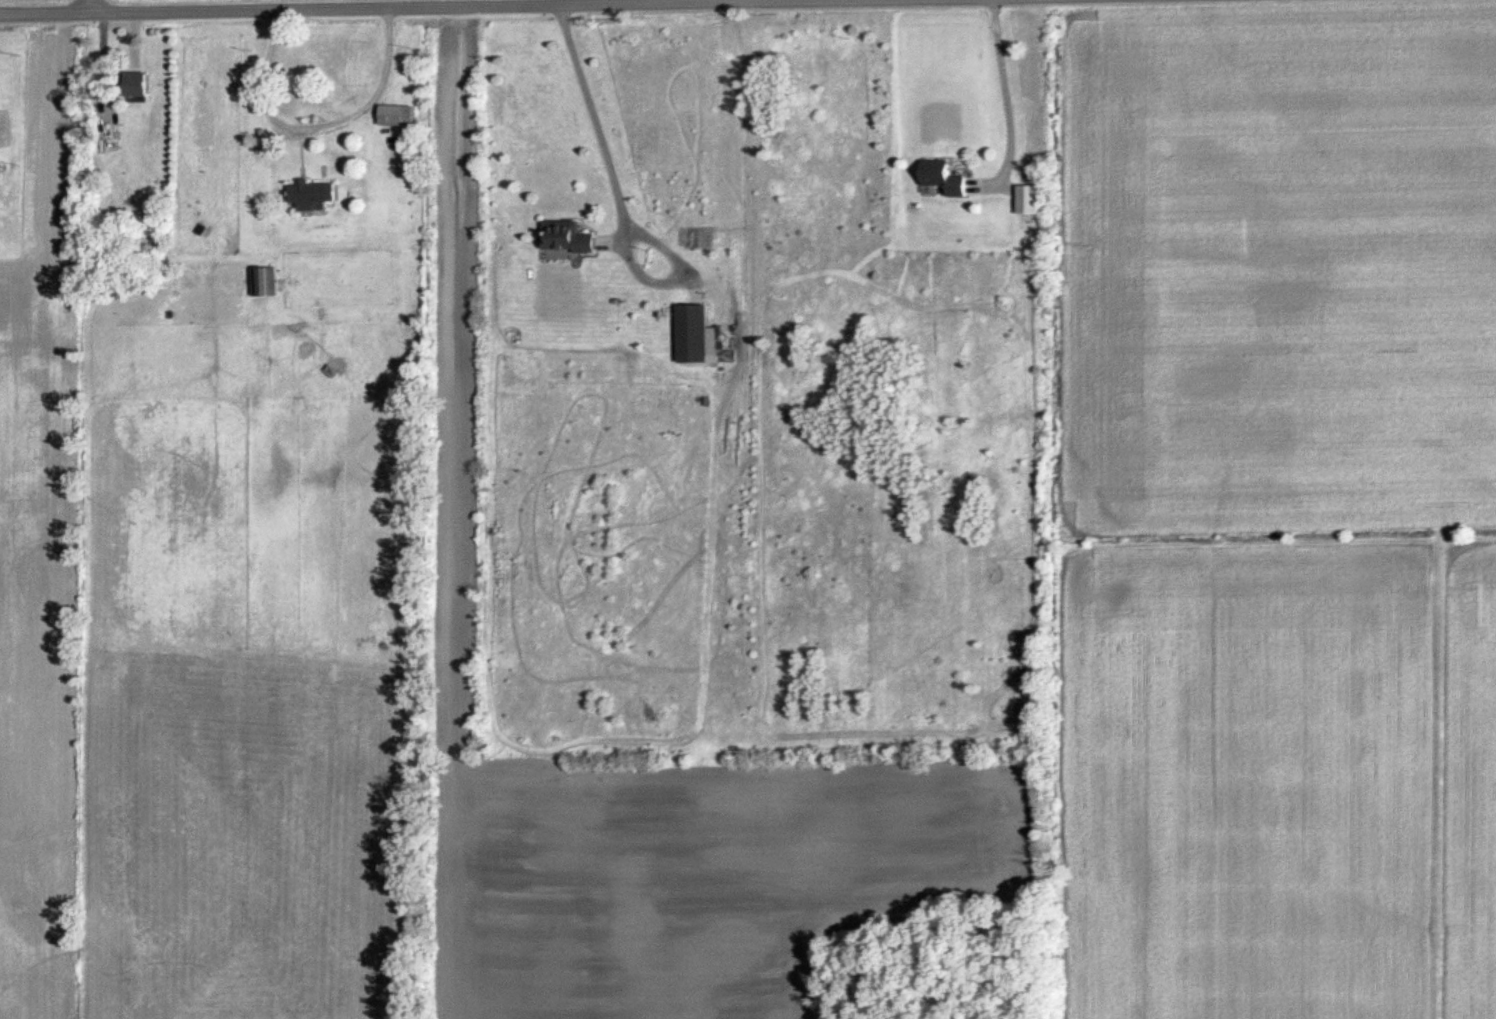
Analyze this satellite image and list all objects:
road: (93, 4)
road: (301, 5)
building: (143, 85)
road: (1004, 101)
building: (404, 116)
road: (590, 116)
road: (314, 125)
building: (1035, 173)
building: (949, 177)
building: (317, 194)
building: (572, 238)
building: (270, 283)
building: (697, 334)

